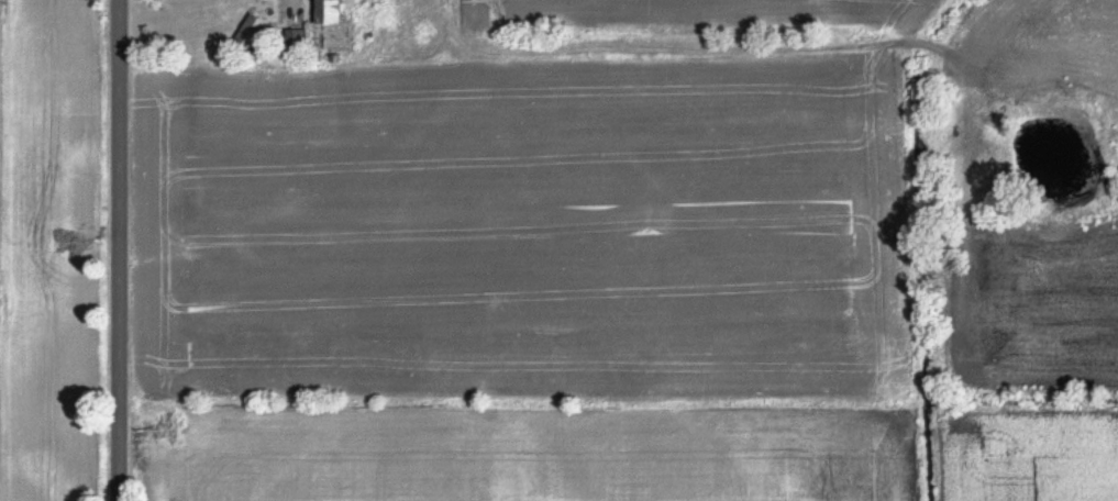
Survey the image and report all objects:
building: (322, 11)
building: (248, 26)
road: (128, 250)

